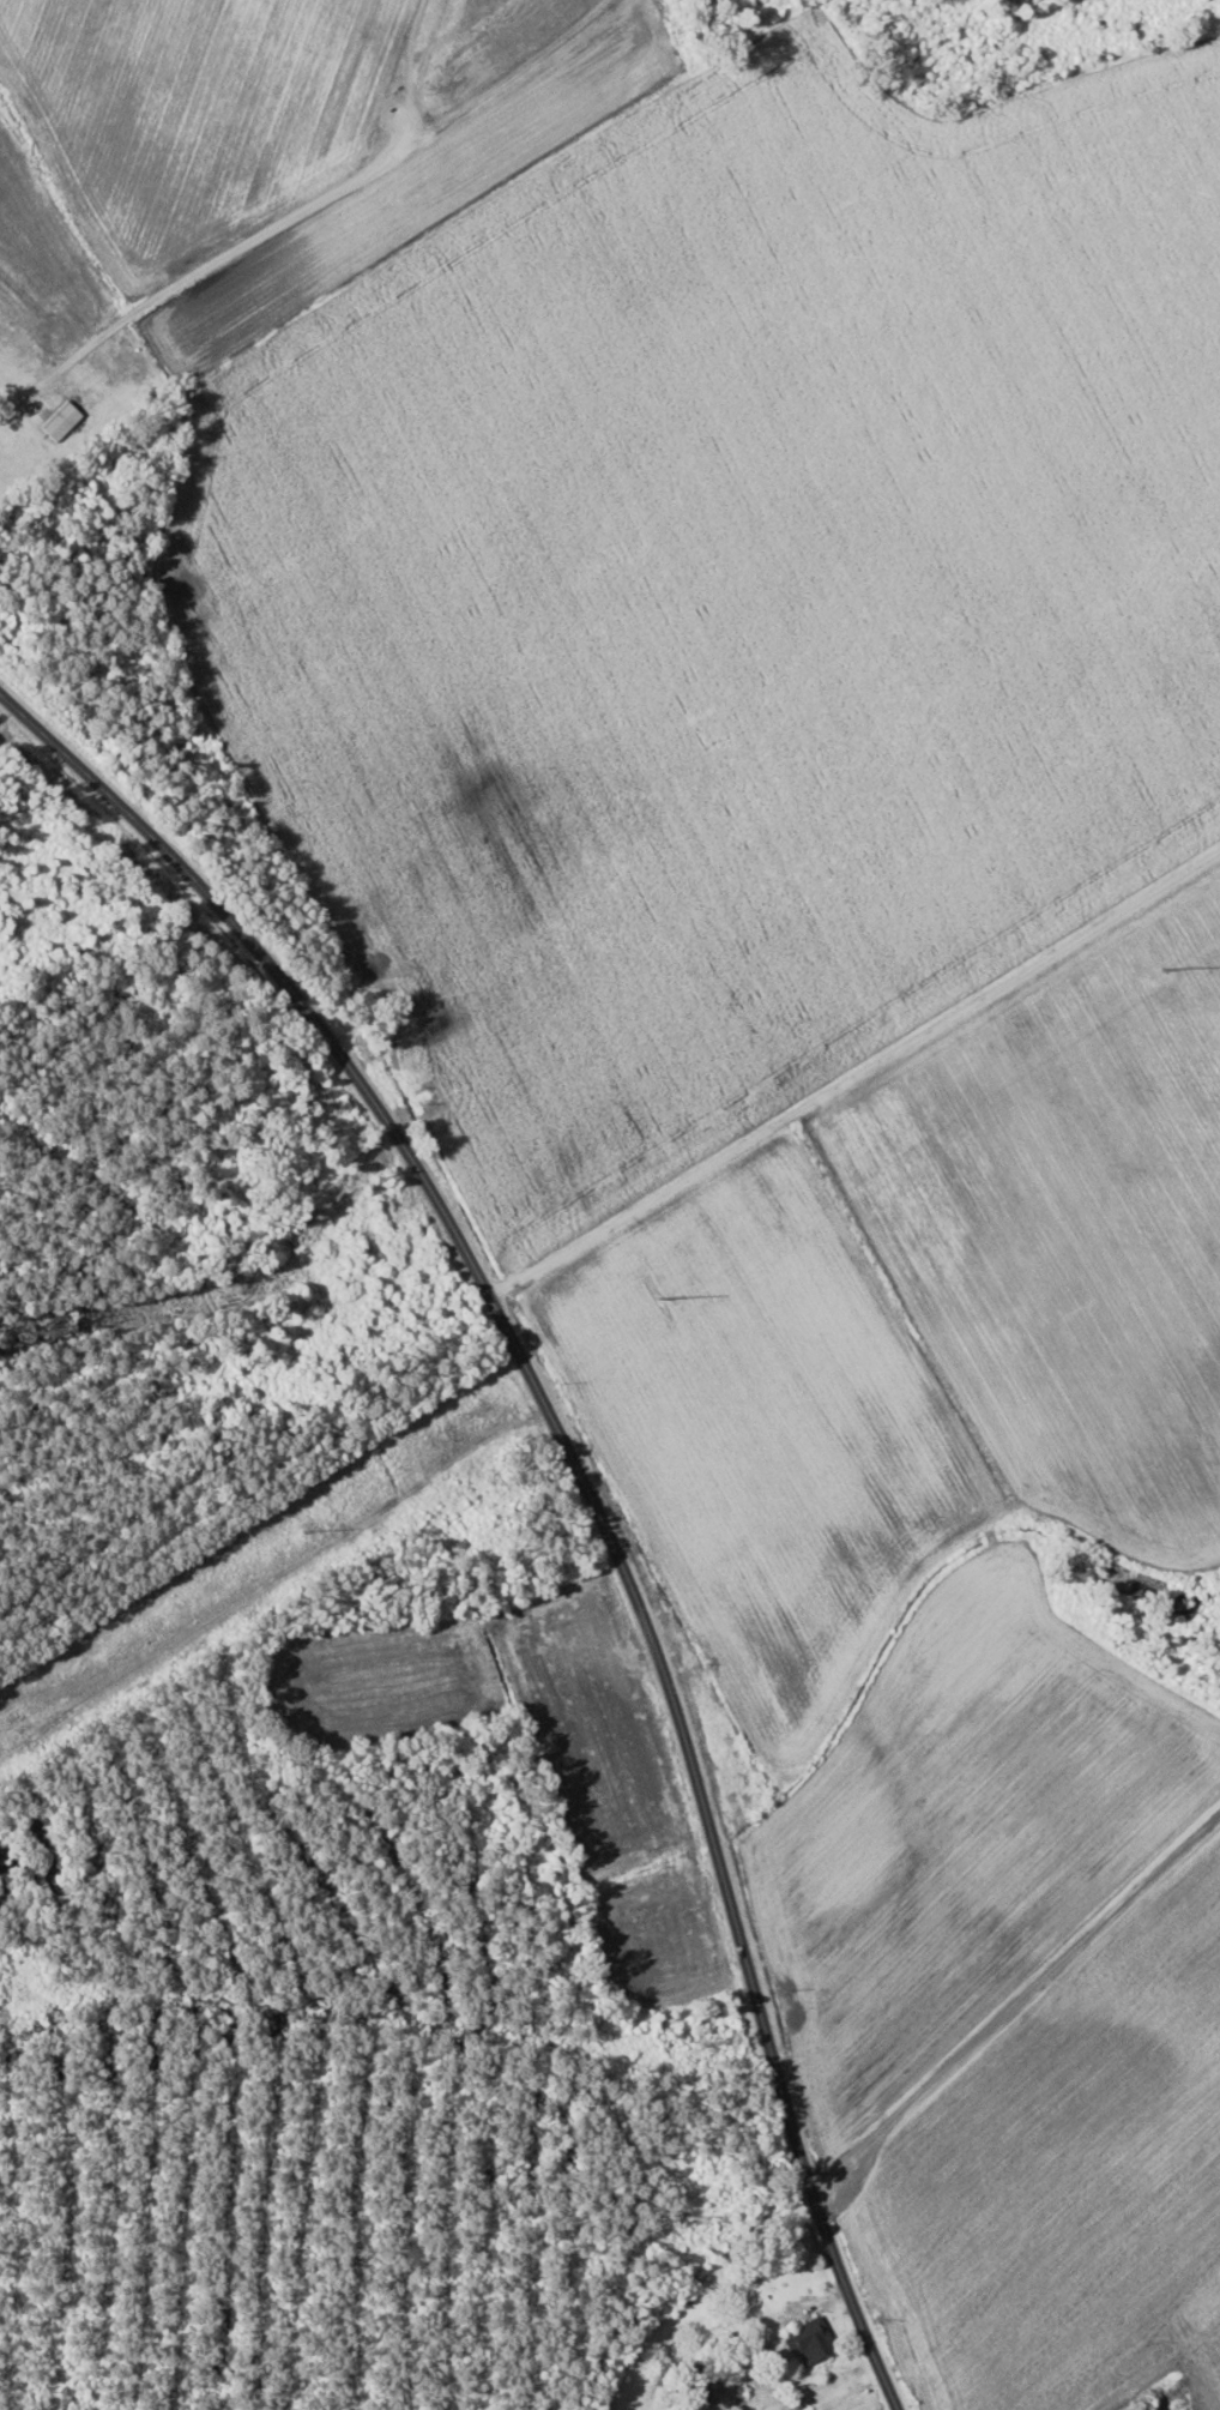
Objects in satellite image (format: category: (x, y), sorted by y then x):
power tower: (1167, 966)
power tower: (660, 1296)
power tower: (521, 1387)
road: (581, 1477)
power tower: (303, 1532)
building: (810, 2342)
building: (702, 2387)

